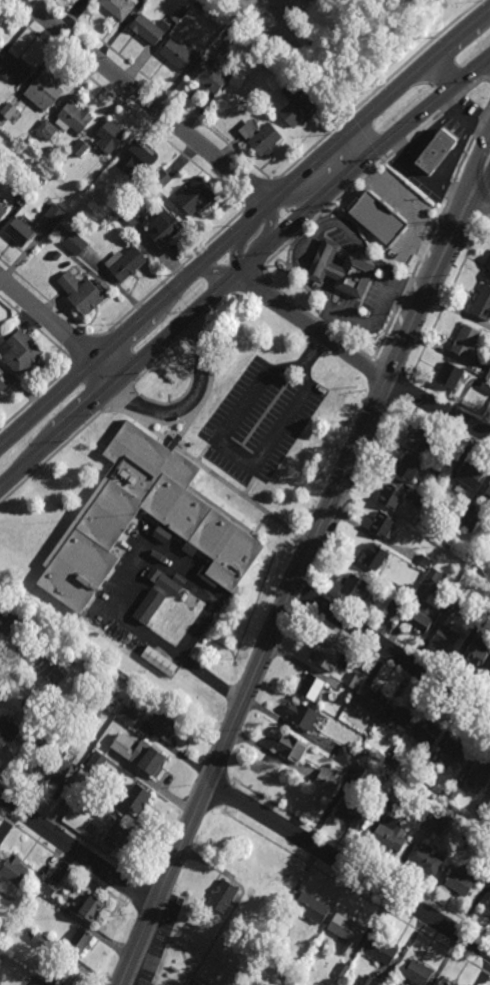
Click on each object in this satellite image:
building: (117, 8)
building: (183, 9)
road: (267, 11)
building: (176, 16)
building: (225, 21)
building: (232, 28)
building: (147, 29)
road: (460, 34)
building: (181, 35)
building: (0, 41)
road: (412, 54)
building: (176, 55)
building: (14, 69)
road: (472, 70)
road: (443, 71)
road: (478, 72)
building: (210, 77)
road: (472, 87)
building: (290, 89)
road: (163, 92)
building: (42, 95)
road: (123, 107)
road: (449, 107)
building: (8, 110)
building: (297, 110)
road: (158, 111)
road: (487, 113)
road: (460, 115)
building: (75, 119)
building: (256, 121)
road: (426, 127)
building: (46, 129)
building: (249, 129)
road: (479, 129)
building: (110, 139)
building: (265, 141)
road: (315, 145)
road: (401, 146)
building: (80, 147)
building: (436, 150)
road: (350, 151)
building: (136, 161)
road: (383, 161)
road: (465, 161)
road: (368, 174)
building: (160, 179)
road: (451, 193)
road: (482, 194)
road: (260, 196)
building: (21, 197)
building: (193, 199)
building: (2, 212)
building: (55, 214)
road: (411, 215)
road: (489, 215)
road: (489, 217)
building: (378, 219)
building: (126, 221)
road: (312, 222)
road: (437, 224)
building: (161, 227)
building: (19, 233)
road: (350, 236)
building: (74, 242)
road: (216, 249)
road: (344, 250)
road: (423, 250)
building: (57, 255)
building: (124, 264)
road: (415, 268)
road: (438, 268)
building: (488, 268)
building: (341, 270)
road: (335, 272)
road: (173, 273)
road: (305, 279)
road: (249, 281)
road: (227, 285)
road: (406, 291)
road: (286, 295)
road: (330, 295)
building: (84, 297)
road: (448, 297)
building: (482, 303)
road: (50, 304)
road: (299, 316)
road: (373, 321)
road: (323, 324)
road: (195, 327)
road: (59, 330)
road: (39, 331)
road: (387, 333)
building: (465, 341)
road: (134, 345)
road: (353, 346)
road: (315, 348)
road: (86, 351)
building: (19, 354)
road: (156, 362)
road: (392, 370)
building: (488, 375)
building: (450, 376)
building: (486, 385)
building: (2, 387)
road: (406, 389)
road: (82, 394)
road: (117, 397)
road: (450, 399)
road: (33, 400)
road: (190, 400)
road: (438, 408)
road: (147, 419)
road: (442, 426)
road: (182, 433)
building: (422, 439)
road: (206, 450)
road: (234, 452)
building: (448, 460)
building: (408, 469)
building: (439, 471)
building: (468, 474)
road: (218, 478)
road: (251, 481)
building: (488, 488)
building: (391, 495)
building: (422, 502)
building: (195, 519)
building: (467, 522)
building: (383, 523)
road: (260, 525)
building: (161, 535)
building: (489, 538)
road: (307, 540)
building: (448, 543)
building: (188, 549)
building: (375, 555)
building: (190, 558)
building: (190, 561)
building: (424, 562)
building: (203, 566)
building: (153, 572)
building: (179, 578)
road: (304, 579)
road: (125, 584)
building: (169, 584)
building: (356, 587)
building: (405, 592)
building: (188, 599)
building: (427, 603)
building: (149, 605)
building: (451, 605)
building: (396, 607)
building: (83, 612)
building: (482, 620)
building: (7, 623)
road: (374, 634)
building: (118, 636)
building: (445, 638)
road: (399, 643)
road: (366, 645)
road: (391, 653)
building: (476, 653)
building: (68, 655)
building: (326, 655)
building: (158, 660)
building: (488, 674)
building: (352, 680)
road: (252, 682)
building: (311, 686)
building: (345, 689)
road: (426, 693)
building: (369, 700)
building: (93, 708)
building: (302, 715)
building: (127, 716)
building: (398, 716)
building: (58, 723)
building: (164, 724)
building: (6, 728)
building: (427, 733)
building: (292, 747)
building: (391, 747)
building: (454, 749)
building: (400, 752)
building: (140, 754)
building: (345, 754)
building: (96, 762)
building: (56, 767)
building: (354, 771)
building: (480, 772)
building: (426, 774)
road: (224, 775)
building: (326, 779)
building: (398, 784)
building: (454, 790)
building: (73, 794)
building: (394, 794)
building: (137, 798)
road: (211, 806)
building: (480, 808)
building: (351, 813)
building: (428, 820)
building: (435, 823)
road: (70, 830)
building: (389, 833)
building: (120, 834)
building: (465, 841)
building: (0, 846)
road: (77, 851)
road: (362, 858)
building: (425, 859)
road: (65, 863)
road: (349, 867)
building: (13, 869)
building: (489, 873)
building: (489, 875)
building: (463, 880)
building: (49, 886)
road: (150, 887)
road: (355, 893)
road: (135, 895)
building: (222, 896)
building: (52, 906)
building: (311, 907)
building: (92, 908)
building: (487, 908)
road: (139, 915)
building: (284, 922)
building: (346, 929)
building: (40, 939)
building: (79, 942)
building: (381, 949)
building: (342, 970)
building: (417, 972)
building: (63, 975)
building: (369, 981)
building: (446, 982)

